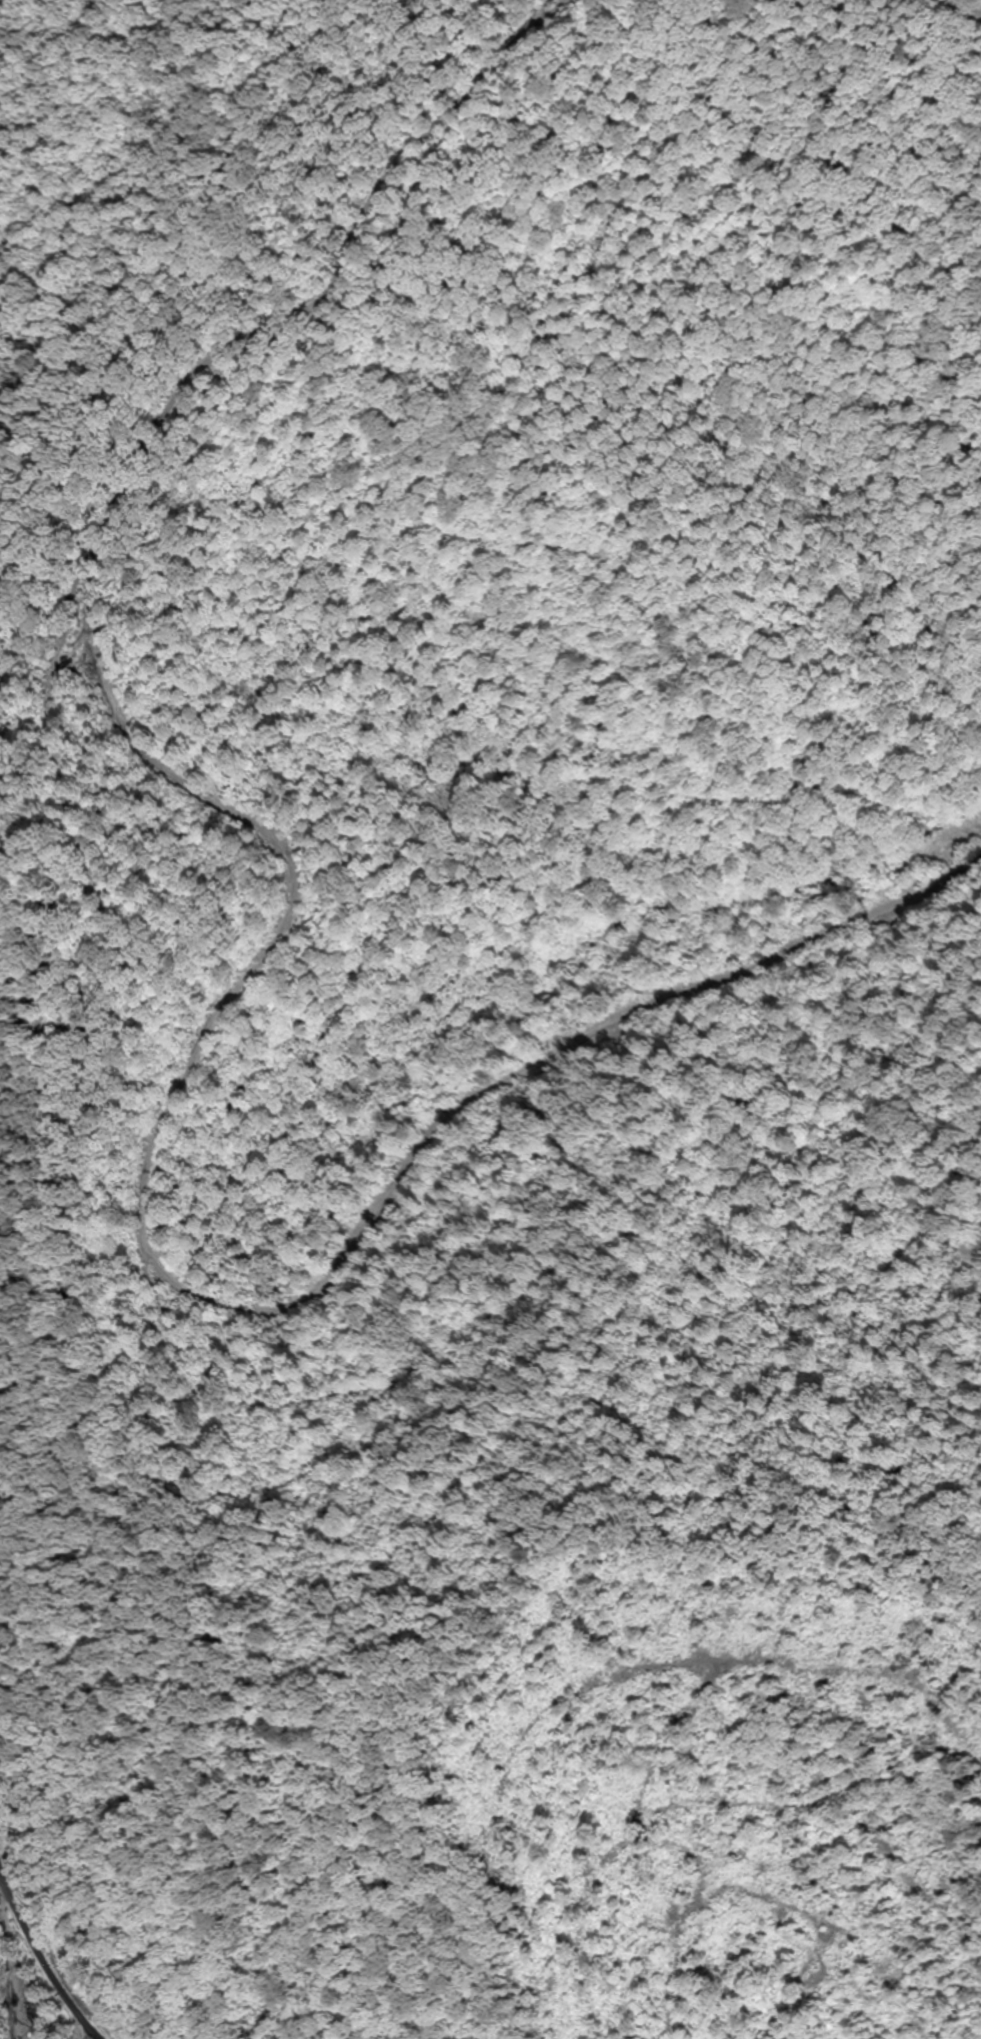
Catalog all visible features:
road: (40, 1963)

